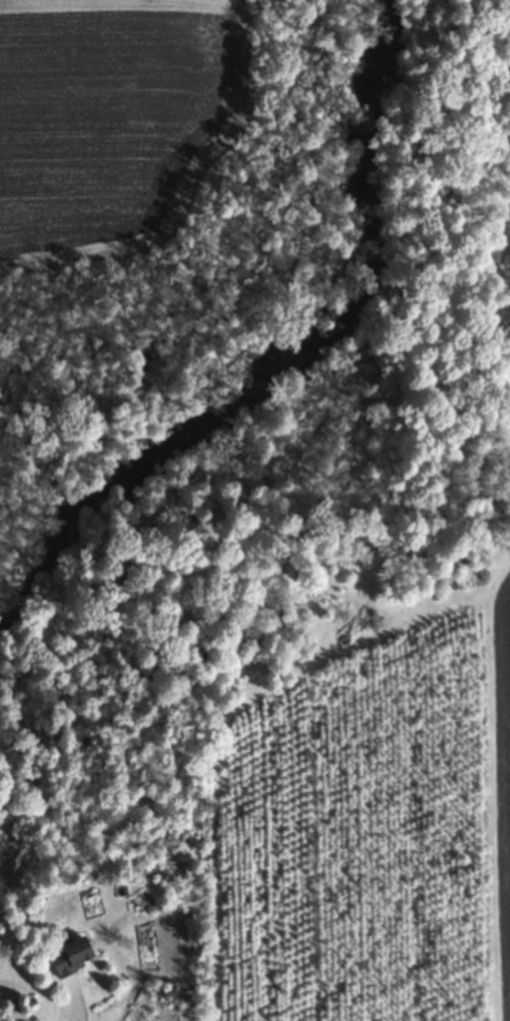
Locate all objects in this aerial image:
river: (315, 384)
building: (68, 955)
road: (78, 1003)

